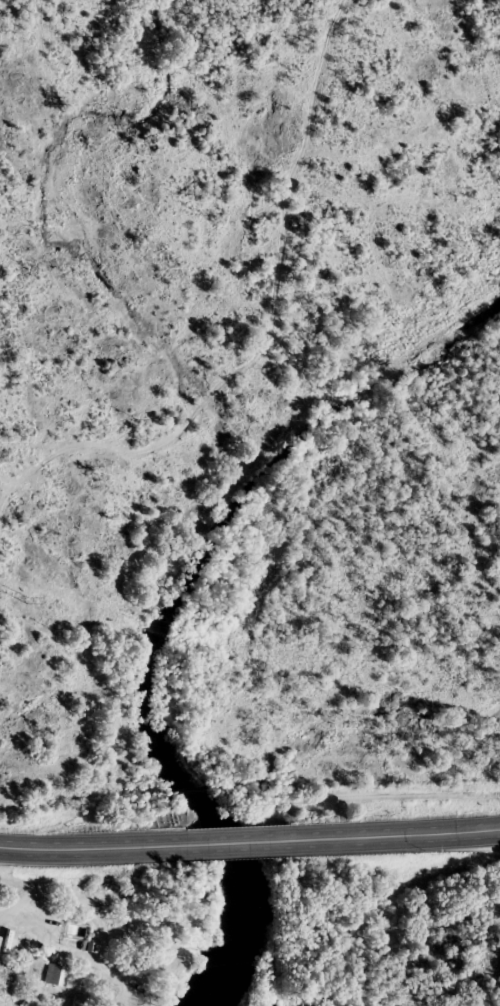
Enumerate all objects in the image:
road: (258, 337)
power tower: (25, 598)
road: (398, 835)
road: (242, 841)
road: (94, 846)
road: (66, 891)
building: (79, 938)
building: (55, 975)
building: (81, 1000)

